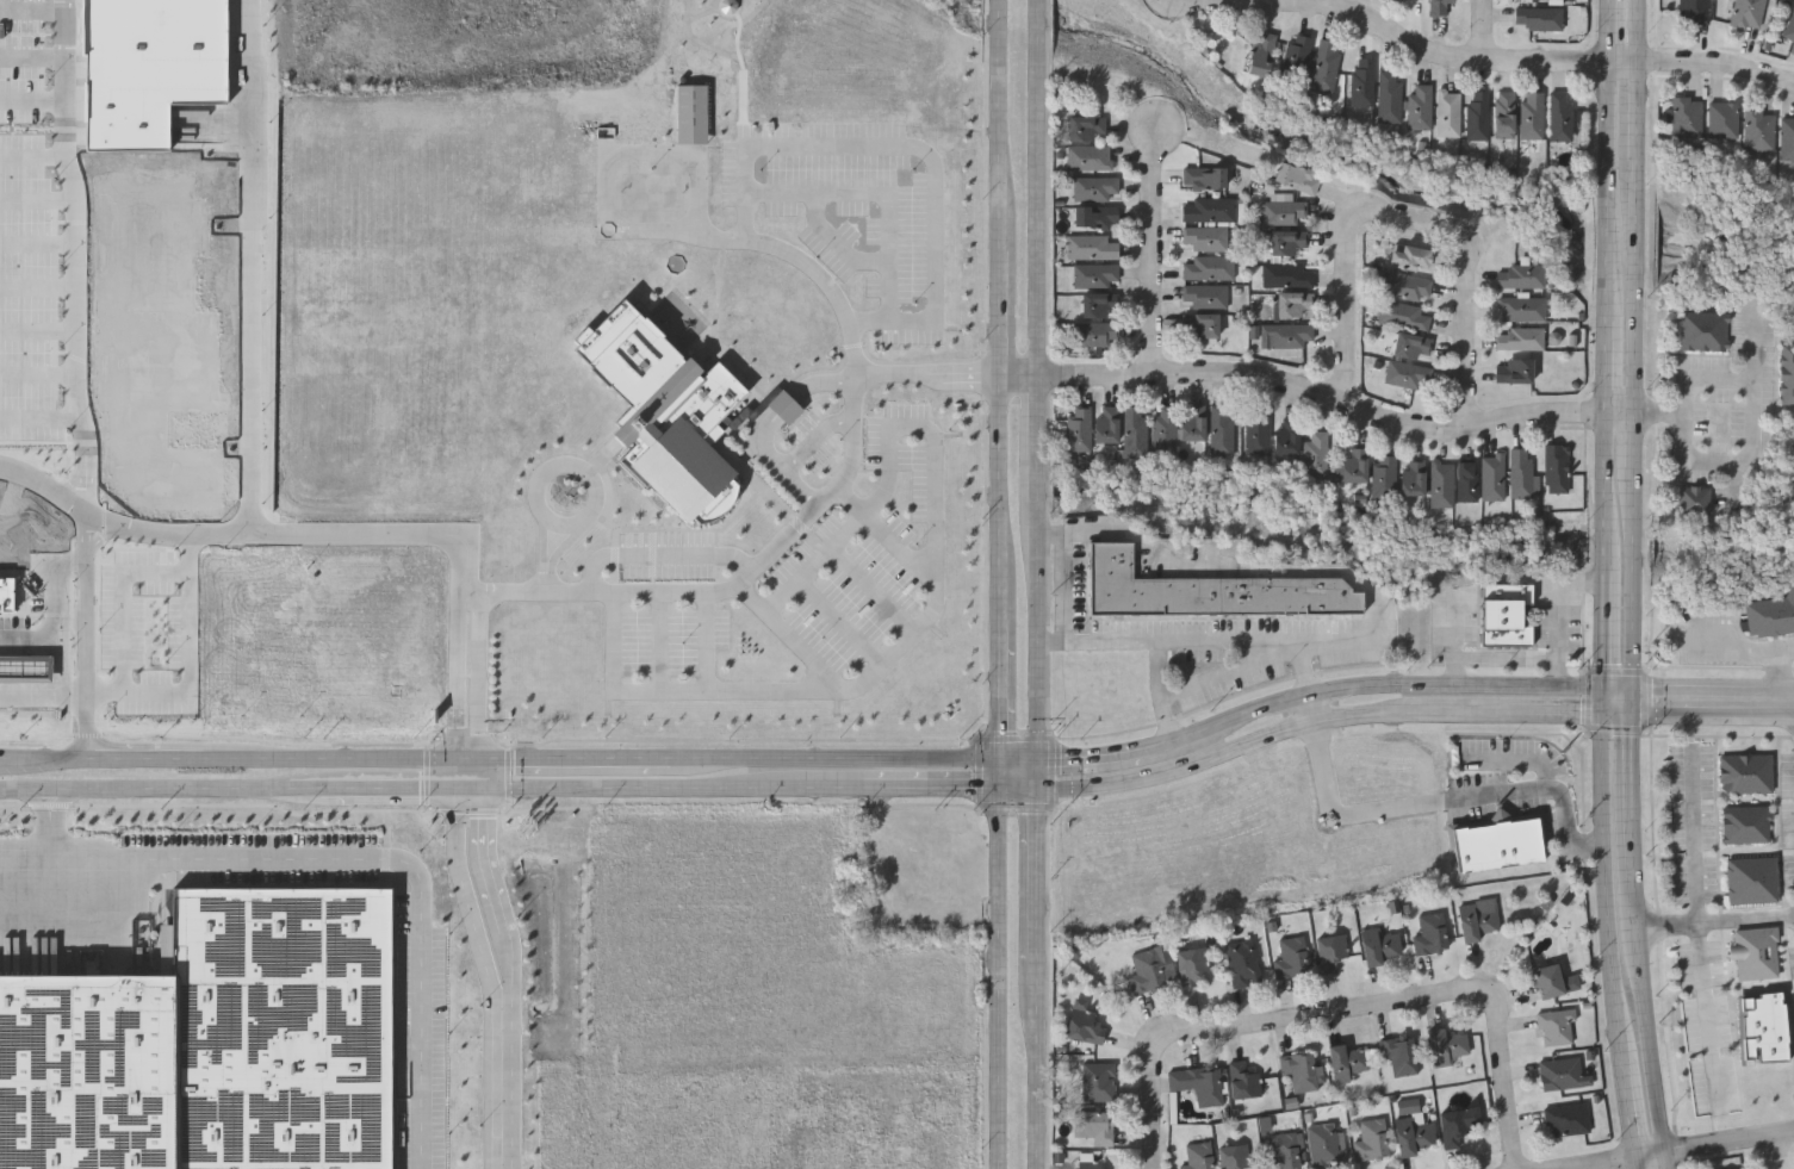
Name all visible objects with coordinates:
road: (1186, 1)
building: (1438, 6)
road: (31, 11)
building: (1691, 12)
building: (1745, 13)
road: (999, 19)
building: (1538, 19)
building: (1789, 27)
road: (1484, 30)
road: (1614, 30)
road: (1637, 30)
road: (1042, 31)
road: (1399, 37)
building: (1260, 54)
building: (1295, 57)
road: (32, 58)
road: (1625, 61)
building: (1324, 66)
road: (1717, 67)
building: (1361, 82)
building: (1388, 99)
road: (32, 100)
building: (1419, 108)
road: (1635, 112)
building: (1447, 113)
building: (693, 114)
building: (1503, 114)
building: (1476, 116)
building: (1531, 116)
building: (1559, 116)
building: (1684, 116)
building: (1721, 118)
road: (1000, 126)
building: (1085, 128)
building: (1757, 129)
building: (1786, 138)
road: (918, 149)
road: (35, 155)
building: (1087, 157)
building: (1203, 178)
building: (1296, 178)
building: (1094, 188)
road: (1609, 188)
road: (879, 193)
road: (39, 200)
building: (1206, 209)
building: (1284, 212)
building: (1094, 217)
road: (1413, 218)
building: (1204, 238)
road: (838, 242)
building: (1286, 243)
road: (38, 244)
building: (1091, 248)
road: (1155, 251)
road: (796, 254)
road: (77, 256)
building: (1409, 257)
road: (250, 268)
building: (1206, 268)
building: (1094, 275)
building: (1285, 275)
building: (1519, 278)
building: (1407, 287)
road: (38, 288)
road: (1634, 290)
road: (1000, 294)
building: (1204, 297)
building: (1290, 305)
building: (1097, 306)
building: (1520, 309)
building: (1403, 317)
building: (1198, 327)
road: (38, 331)
building: (1702, 331)
building: (1095, 334)
building: (1289, 336)
building: (1556, 338)
building: (1519, 340)
road: (1756, 341)
building: (1411, 347)
road: (1608, 365)
building: (1514, 372)
road: (867, 375)
building: (1405, 375)
road: (38, 377)
building: (1786, 377)
road: (1306, 391)
road: (784, 406)
building: (786, 408)
road: (1041, 410)
road: (1621, 412)
building: (665, 413)
road: (42, 418)
building: (1191, 424)
building: (1104, 428)
building: (1076, 430)
building: (1162, 430)
building: (1221, 433)
building: (1131, 434)
building: (1258, 434)
building: (1286, 437)
road: (1753, 440)
road: (935, 442)
road: (1633, 443)
road: (799, 454)
building: (1314, 455)
road: (1001, 460)
building: (1351, 467)
building: (1554, 470)
building: (1520, 474)
building: (1383, 477)
building: (1491, 478)
building: (1411, 479)
road: (1740, 479)
building: (1464, 481)
building: (1440, 485)
road: (1608, 491)
building: (1693, 504)
road: (592, 510)
road: (788, 536)
road: (303, 537)
road: (548, 556)
road: (663, 556)
road: (815, 564)
road: (43, 565)
road: (1002, 583)
road: (87, 584)
road: (604, 589)
road: (1064, 589)
road: (871, 590)
road: (935, 591)
road: (1632, 592)
building: (1206, 593)
building: (7, 595)
road: (120, 598)
building: (1770, 615)
building: (1504, 616)
road: (839, 621)
road: (1607, 628)
road: (63, 629)
road: (707, 639)
road: (795, 639)
road: (31, 640)
road: (660, 640)
road: (1184, 642)
road: (1758, 643)
road: (1552, 657)
road: (187, 661)
road: (1159, 671)
road: (1231, 672)
road: (1556, 672)
road: (467, 676)
road: (1458, 686)
road: (1619, 686)
traffic signals: (1632, 686)
traffic signals: (1607, 688)
road: (1004, 689)
road: (1712, 690)
road: (671, 692)
road: (43, 694)
road: (1607, 699)
road: (1314, 708)
traffic signals: (1607, 713)
road: (1619, 713)
traffic signals: (1632, 713)
road: (1712, 715)
road: (1240, 719)
road: (1320, 720)
road: (232, 757)
traffic signals: (466, 757)
road: (734, 757)
traffic signals: (1004, 758)
road: (1023, 758)
traffic signals: (1043, 758)
road: (1107, 758)
road: (466, 771)
road: (1004, 771)
road: (1043, 771)
building: (1748, 775)
road: (1023, 784)
traffic signals: (1043, 784)
road: (159, 785)
road: (392, 785)
traffic signals: (466, 785)
road: (664, 785)
road: (932, 785)
traffic signals: (1004, 785)
road: (466, 795)
road: (1444, 798)
road: (1631, 820)
building: (1746, 826)
building: (1497, 841)
road: (52, 847)
road: (385, 859)
road: (1042, 877)
building: (1752, 881)
road: (1607, 887)
road: (488, 898)
road: (474, 901)
road: (1792, 914)
building: (1477, 918)
road: (1714, 921)
road: (1700, 925)
building: (1430, 933)
building: (1379, 944)
building: (1330, 950)
building: (1756, 955)
building: (1292, 958)
building: (1244, 963)
building: (1192, 965)
building: (1146, 970)
road: (1004, 977)
building: (1553, 981)
road: (1335, 1012)
building: (1085, 1026)
building: (1556, 1026)
building: (1764, 1027)
road: (1649, 1039)
building: (213, 1041)
building: (1445, 1045)
building: (1399, 1053)
building: (1348, 1061)
road: (1042, 1070)
building: (1301, 1070)
building: (1563, 1072)
building: (1243, 1077)
building: (1098, 1080)
road: (507, 1081)
road: (1508, 1081)
building: (1205, 1083)
road: (1155, 1093)
road: (1630, 1109)
building: (1568, 1118)
building: (1095, 1125)
building: (1455, 1126)
building: (1414, 1133)
building: (1372, 1139)
road: (1728, 1142)
building: (1323, 1144)
building: (1286, 1151)
road: (1781, 1151)
building: (1239, 1154)
road: (1650, 1154)
building: (1199, 1155)
road: (1665, 1159)
building: (1091, 1161)
road: (1602, 1163)
road: (1635, 1163)
building: (1738, 1168)
building: (1743, 1168)

